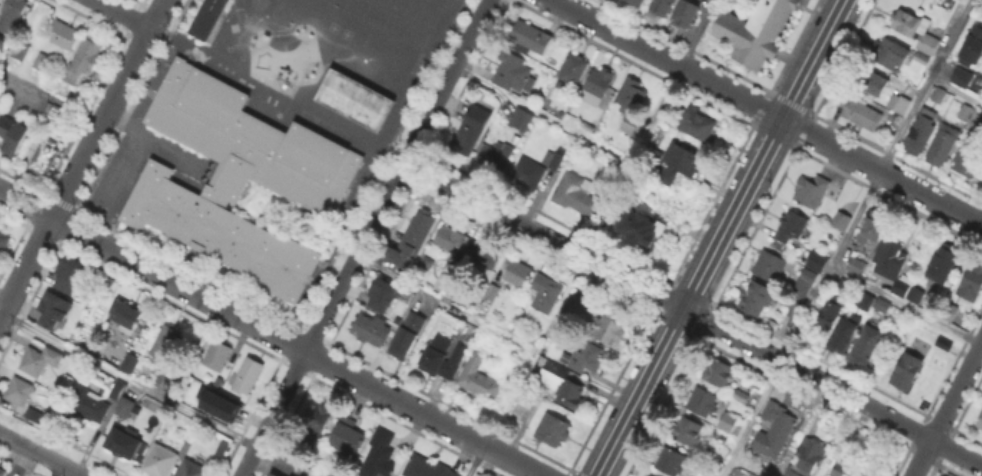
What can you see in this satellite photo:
building: (638, 2)
building: (662, 7)
building: (685, 13)
building: (12, 14)
road: (122, 14)
building: (206, 18)
park: (331, 26)
building: (915, 28)
park: (343, 32)
building: (755, 32)
building: (64, 34)
road: (157, 35)
building: (531, 37)
road: (950, 38)
building: (973, 44)
park: (227, 47)
building: (23, 52)
building: (892, 52)
park: (239, 56)
building: (83, 60)
building: (42, 62)
building: (920, 62)
road: (322, 66)
building: (574, 68)
building: (515, 72)
building: (961, 76)
road: (673, 80)
building: (875, 83)
building: (597, 86)
road: (956, 89)
building: (938, 92)
building: (632, 95)
road: (50, 97)
building: (352, 97)
building: (899, 102)
road: (769, 111)
building: (860, 111)
building: (966, 111)
road: (542, 114)
building: (57, 115)
park: (304, 117)
building: (522, 119)
road: (132, 122)
building: (976, 122)
building: (631, 123)
building: (700, 123)
park: (319, 125)
building: (472, 129)
building: (921, 131)
building: (13, 134)
park: (335, 134)
building: (943, 145)
road: (170, 150)
building: (495, 156)
road: (82, 157)
building: (44, 159)
building: (554, 159)
building: (686, 159)
building: (968, 162)
parking lot: (141, 167)
road: (118, 171)
road: (386, 173)
building: (529, 173)
building: (236, 177)
building: (813, 189)
building: (578, 194)
building: (842, 219)
building: (792, 225)
building: (641, 226)
building: (874, 226)
road: (721, 237)
road: (364, 238)
building: (449, 238)
building: (412, 239)
building: (4, 240)
building: (486, 255)
building: (818, 261)
building: (858, 263)
building: (943, 263)
building: (770, 265)
building: (891, 265)
building: (67, 271)
building: (518, 271)
road: (825, 275)
building: (973, 280)
building: (838, 287)
building: (493, 291)
building: (801, 291)
building: (545, 292)
building: (914, 294)
building: (381, 296)
building: (757, 296)
building: (865, 301)
building: (883, 304)
road: (444, 305)
building: (51, 307)
road: (906, 307)
building: (831, 312)
road: (692, 313)
building: (126, 316)
building: (88, 323)
building: (610, 328)
building: (371, 329)
building: (845, 332)
road: (270, 334)
building: (406, 336)
building: (165, 343)
building: (867, 343)
building: (944, 343)
building: (219, 353)
building: (584, 354)
building: (442, 357)
building: (40, 359)
building: (128, 364)
building: (719, 369)
building: (908, 370)
building: (249, 375)
building: (552, 375)
building: (479, 379)
building: (115, 388)
building: (18, 390)
building: (571, 392)
road: (155, 393)
building: (742, 396)
building: (703, 401)
building: (89, 405)
building: (123, 405)
road: (946, 408)
building: (771, 409)
building: (225, 411)
road: (501, 413)
building: (36, 415)
building: (320, 416)
building: (728, 421)
building: (980, 422)
building: (554, 429)
building: (688, 430)
building: (776, 434)
building: (720, 437)
building: (121, 439)
building: (347, 440)
road: (18, 443)
building: (224, 449)
building: (811, 454)
building: (379, 455)
building: (161, 460)
building: (668, 460)
road: (55, 463)
building: (427, 467)
building: (193, 468)
building: (3, 470)
building: (791, 473)
building: (270, 474)
building: (276, 474)
building: (845, 474)
road: (76, 475)
building: (479, 475)
building: (646, 475)
building: (650, 475)

